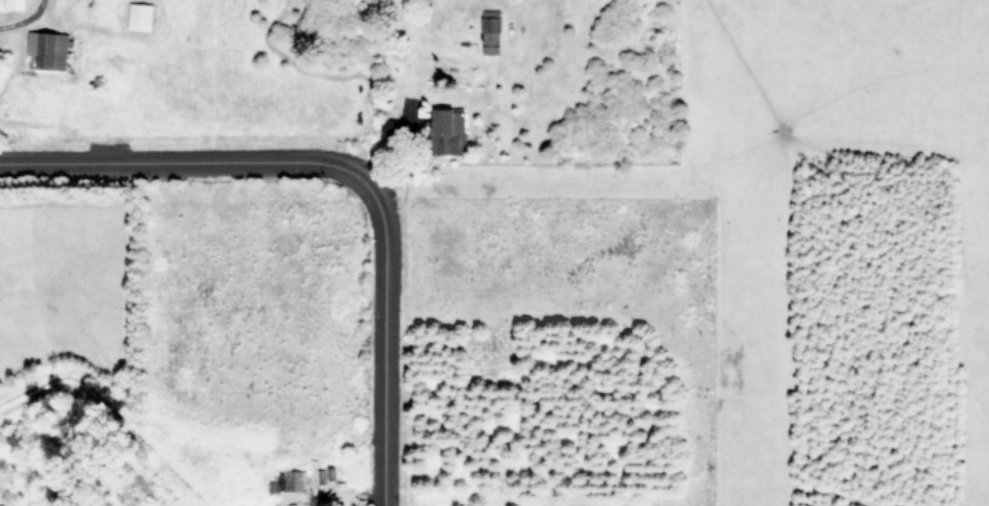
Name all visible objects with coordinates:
building: (16, 4)
building: (140, 16)
road: (24, 17)
building: (492, 34)
building: (49, 48)
building: (388, 128)
building: (450, 130)
road: (348, 167)
building: (295, 479)

